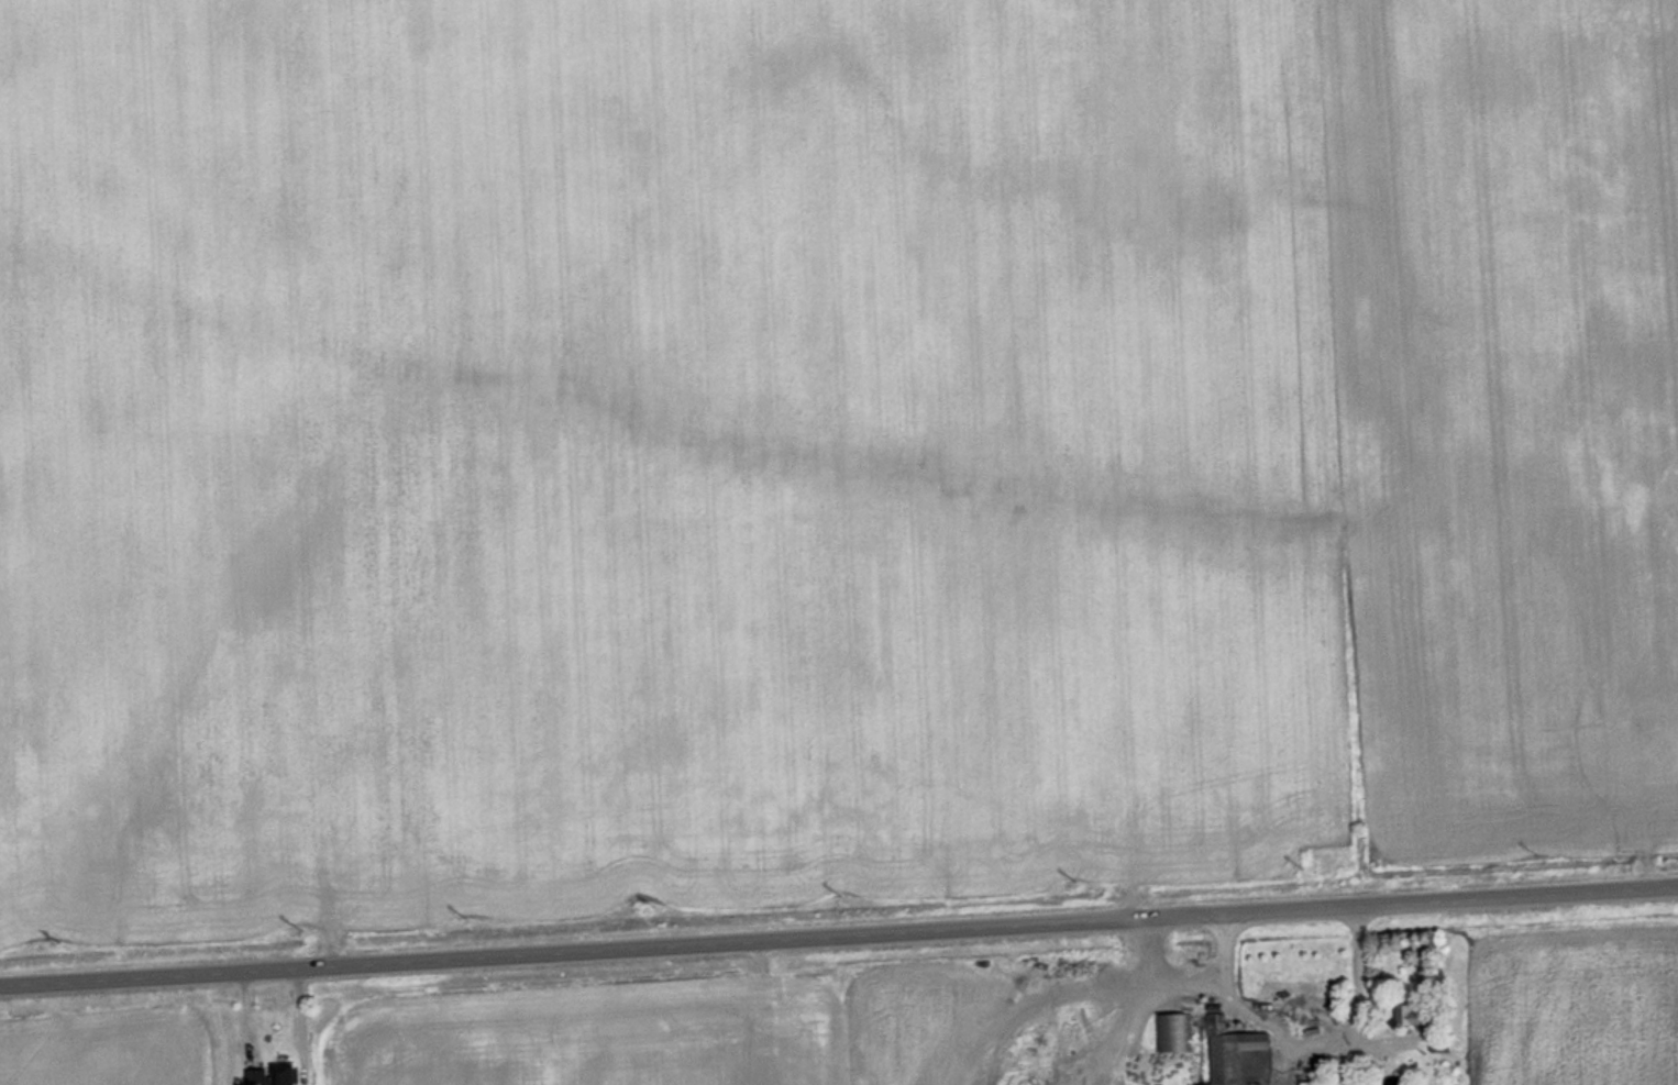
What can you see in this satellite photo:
road: (839, 934)
building: (1069, 974)
building: (1410, 1015)
building: (1435, 1045)
building: (1218, 1053)
building: (288, 1075)
building: (257, 1077)

